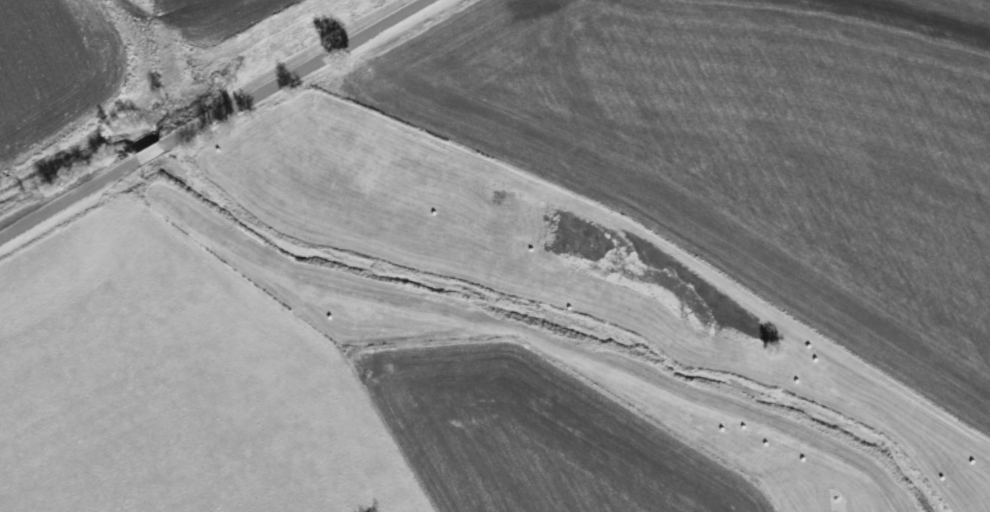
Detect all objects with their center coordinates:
road: (216, 121)

